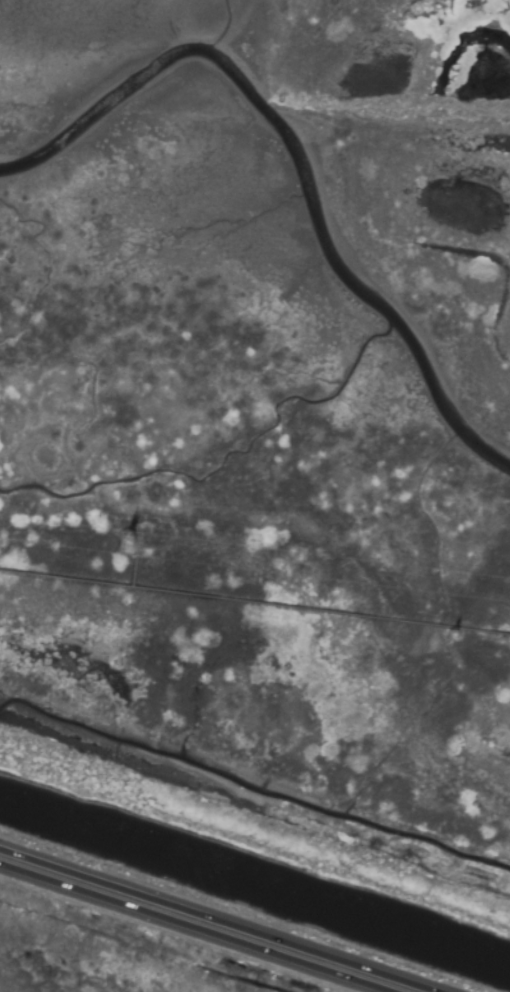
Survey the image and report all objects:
power tower: (120, 550)
power tower: (447, 640)
road: (207, 924)
road: (185, 931)

